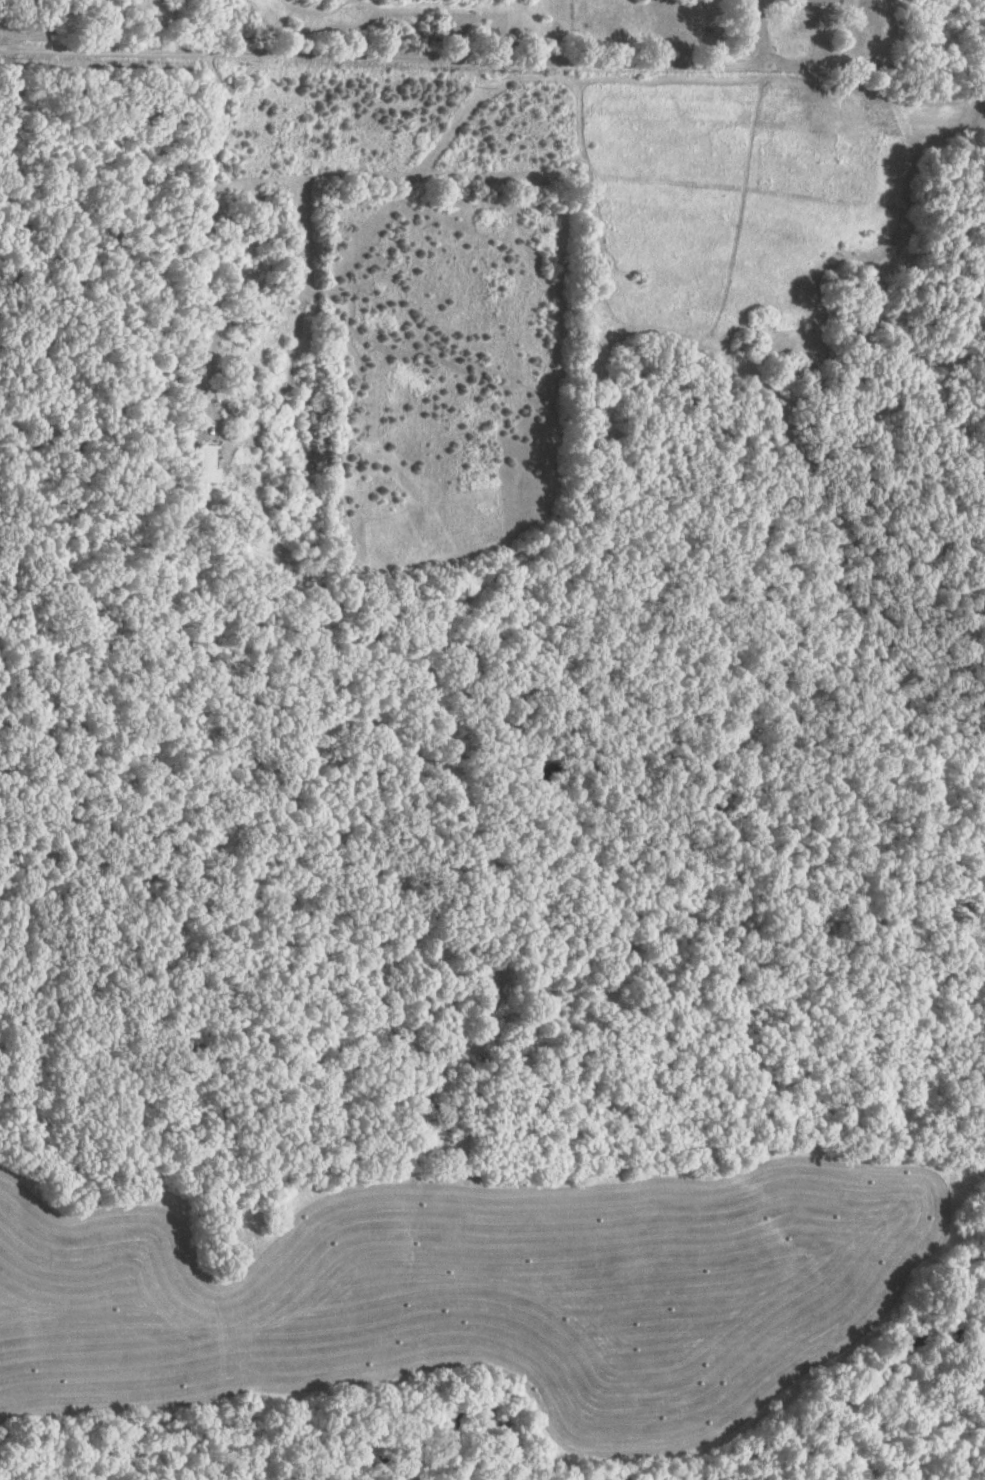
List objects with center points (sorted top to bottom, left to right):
building: (816, 0)
road: (381, 61)
building: (205, 464)

